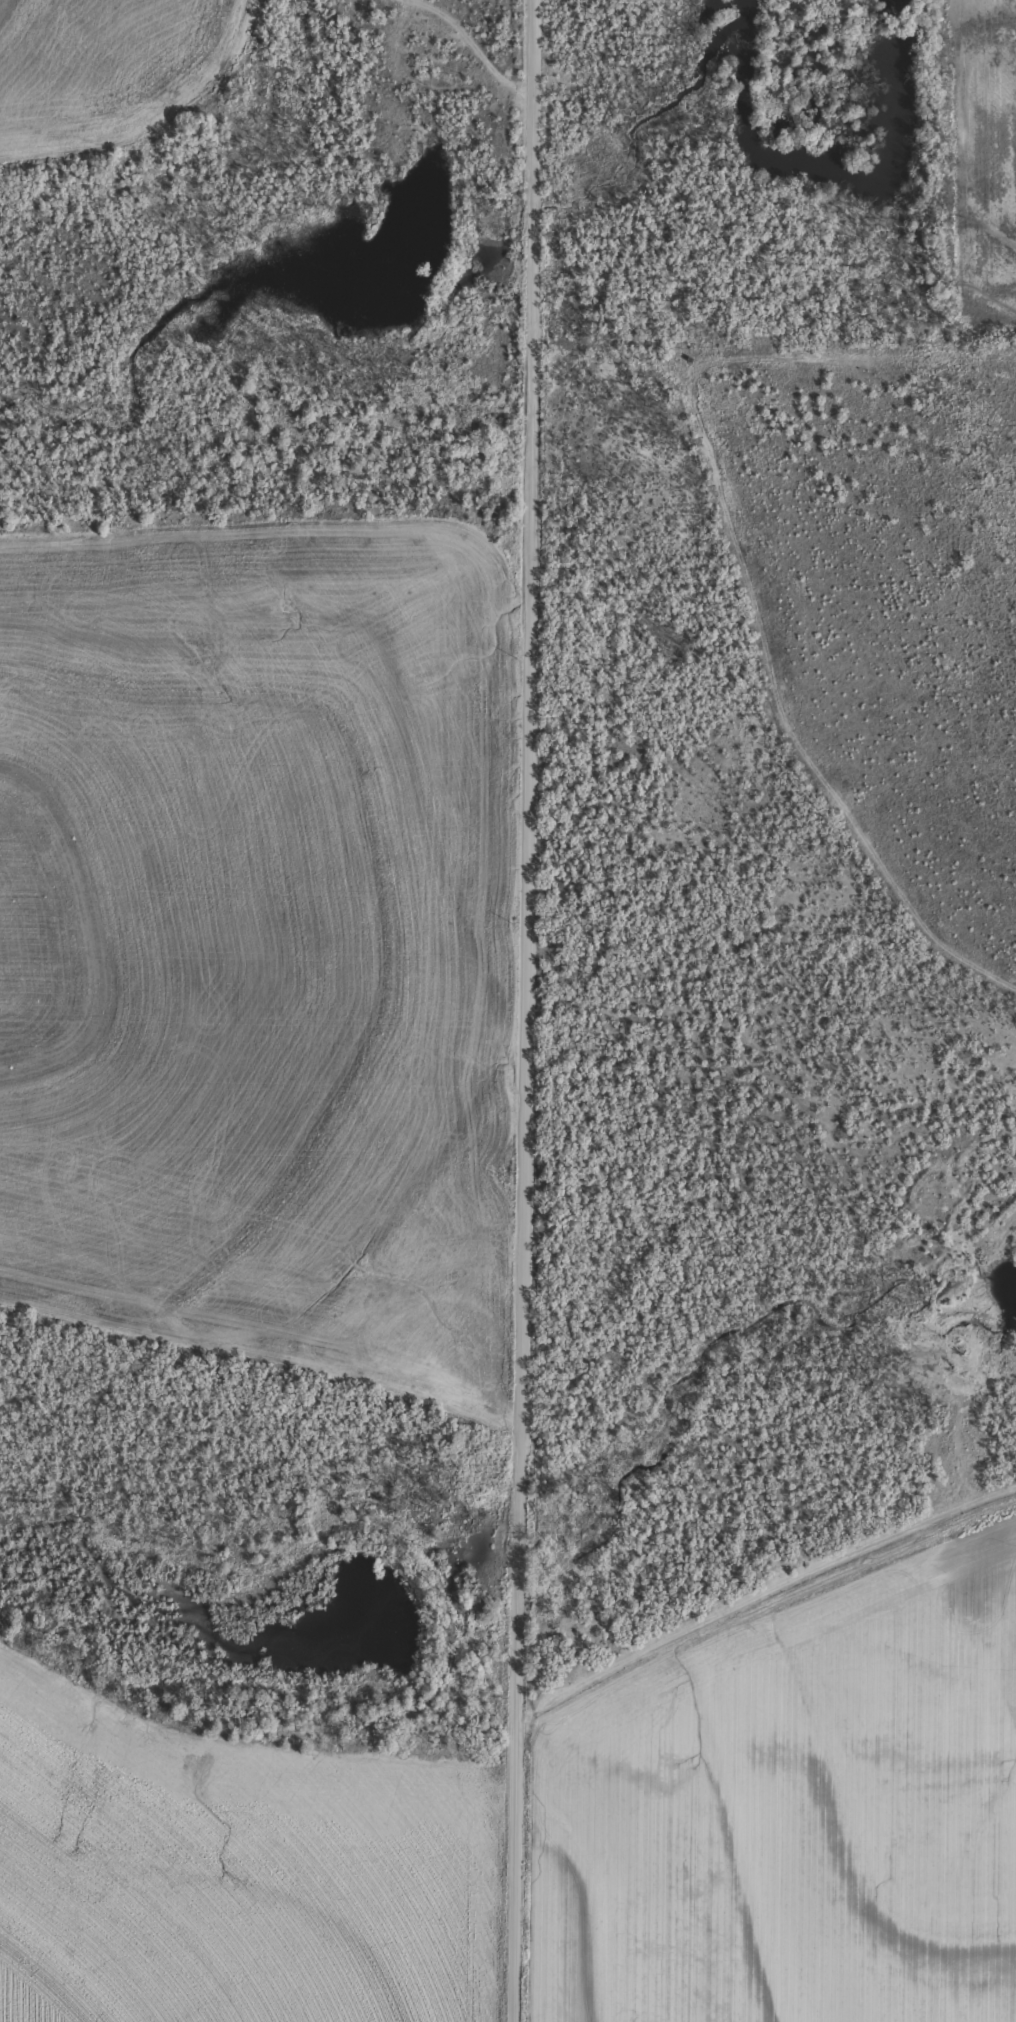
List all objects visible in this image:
road: (501, 1011)
road: (758, 1636)

